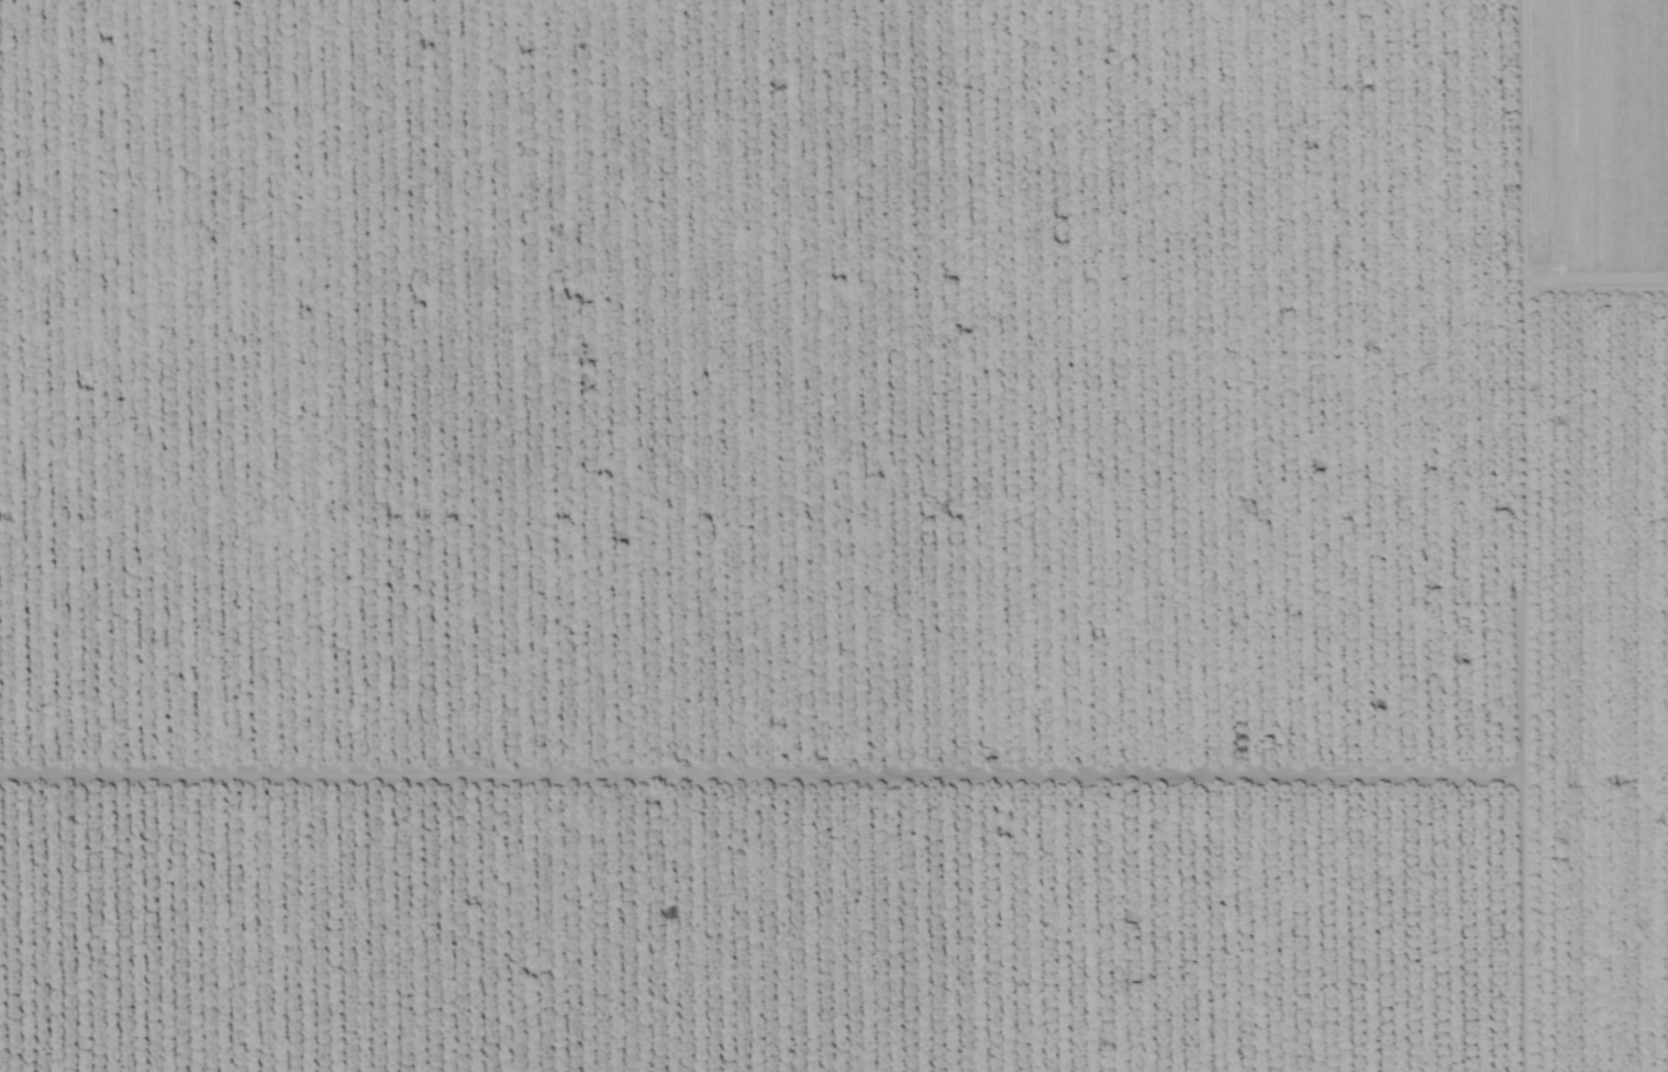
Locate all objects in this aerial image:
crop: (1597, 133)
road: (1523, 536)

